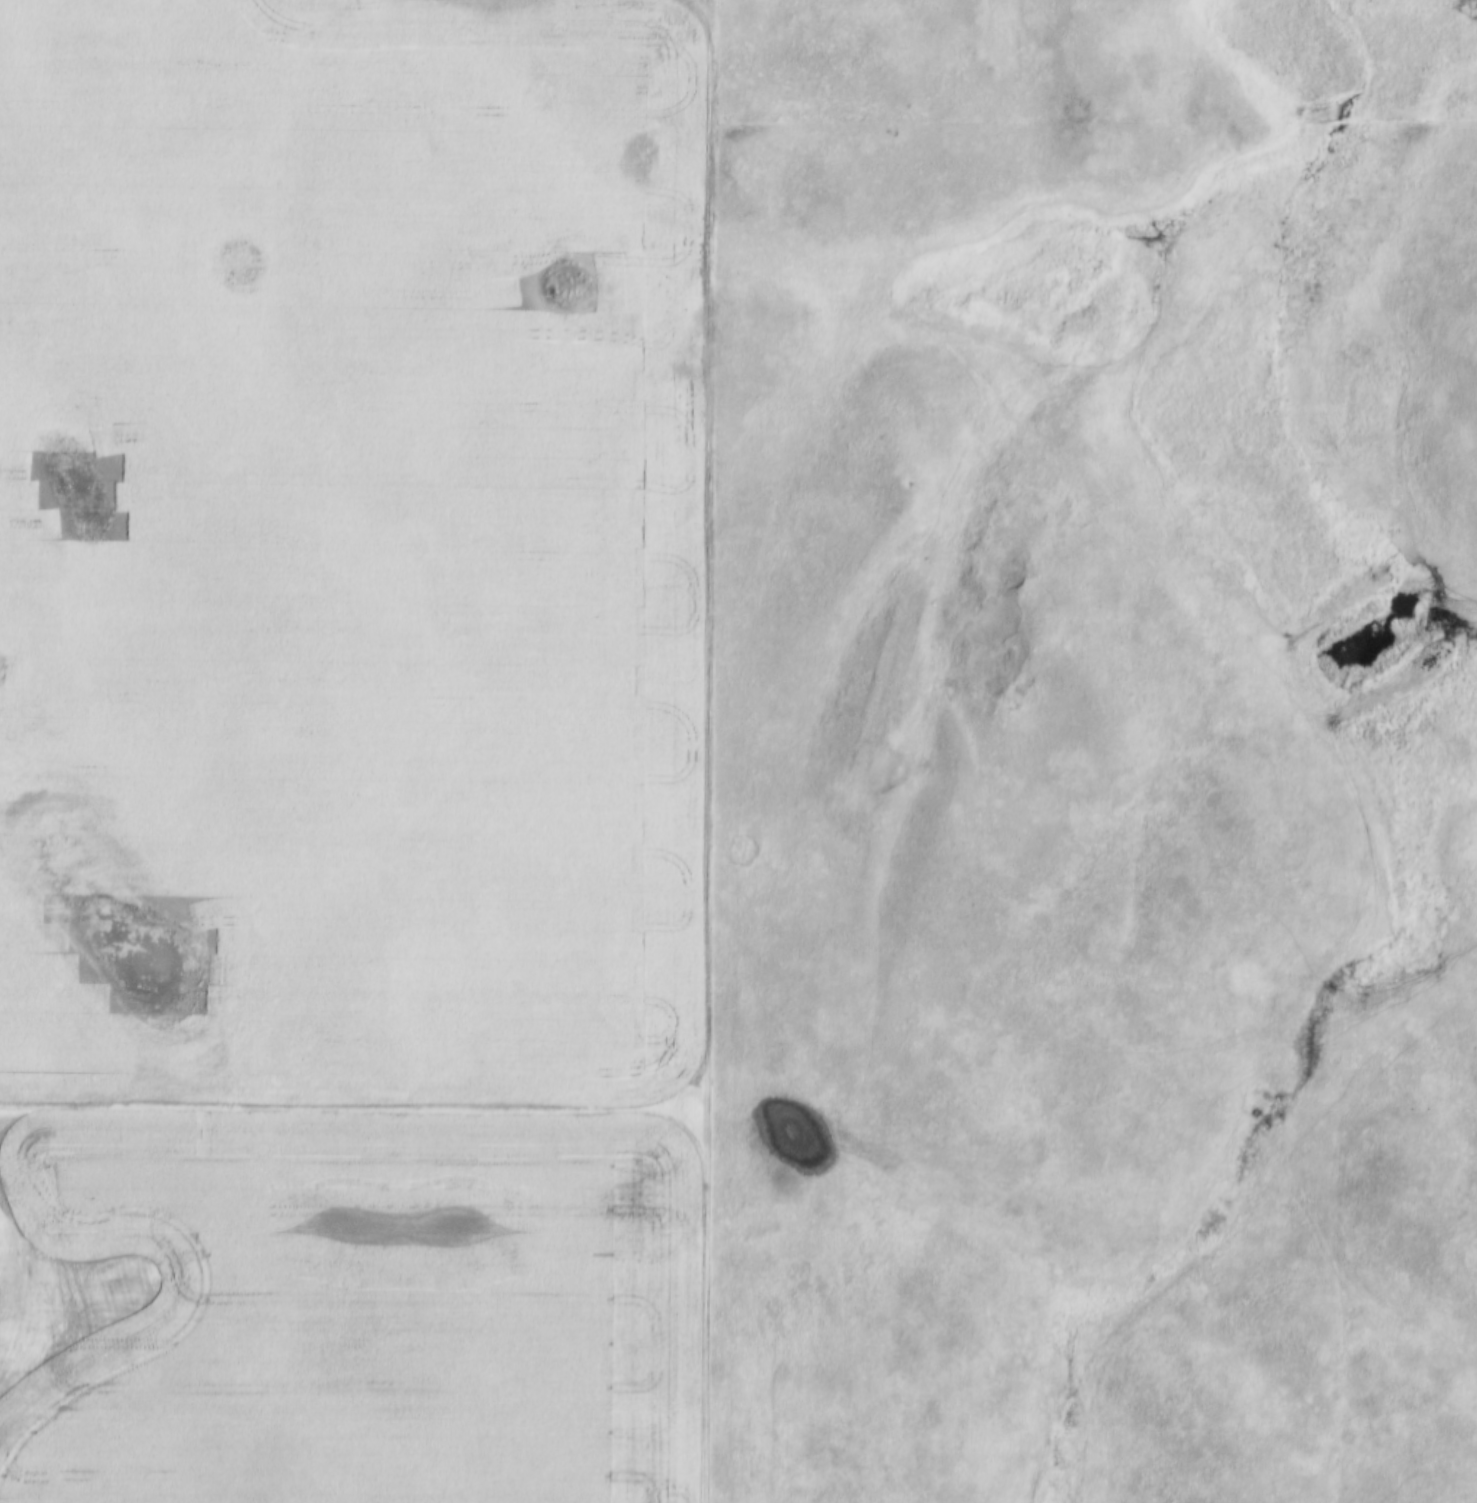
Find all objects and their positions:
road: (705, 751)

